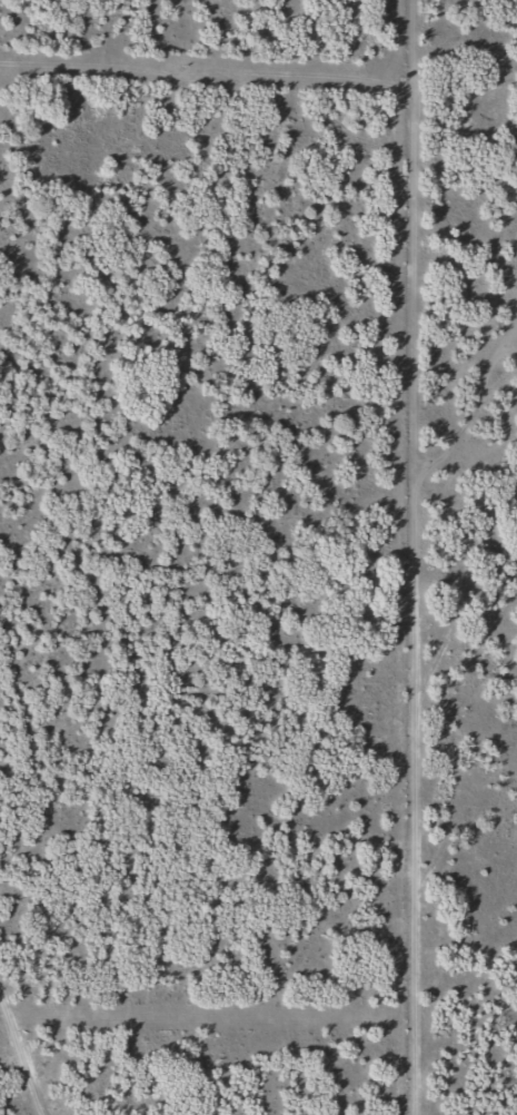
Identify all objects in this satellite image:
road: (19, 1070)

